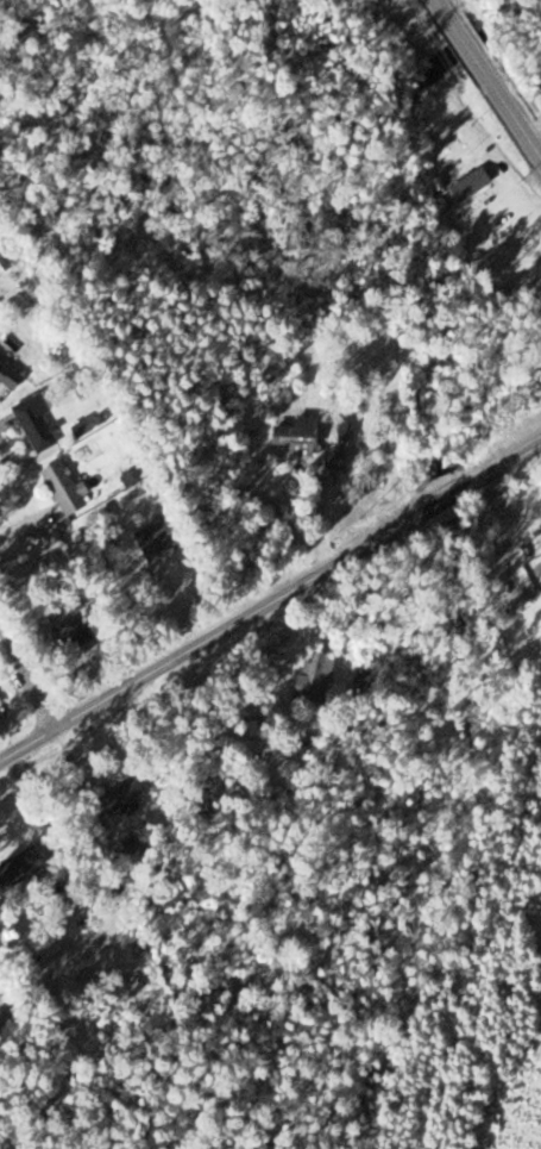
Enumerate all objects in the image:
road: (446, 14)
road: (466, 45)
road: (509, 111)
building: (477, 185)
parking lot: (511, 217)
building: (12, 374)
building: (43, 423)
building: (88, 427)
building: (303, 437)
building: (342, 460)
building: (70, 488)
building: (165, 539)
road: (270, 604)
building: (84, 631)
road: (30, 675)
building: (1, 688)
building: (139, 791)
building: (30, 867)

